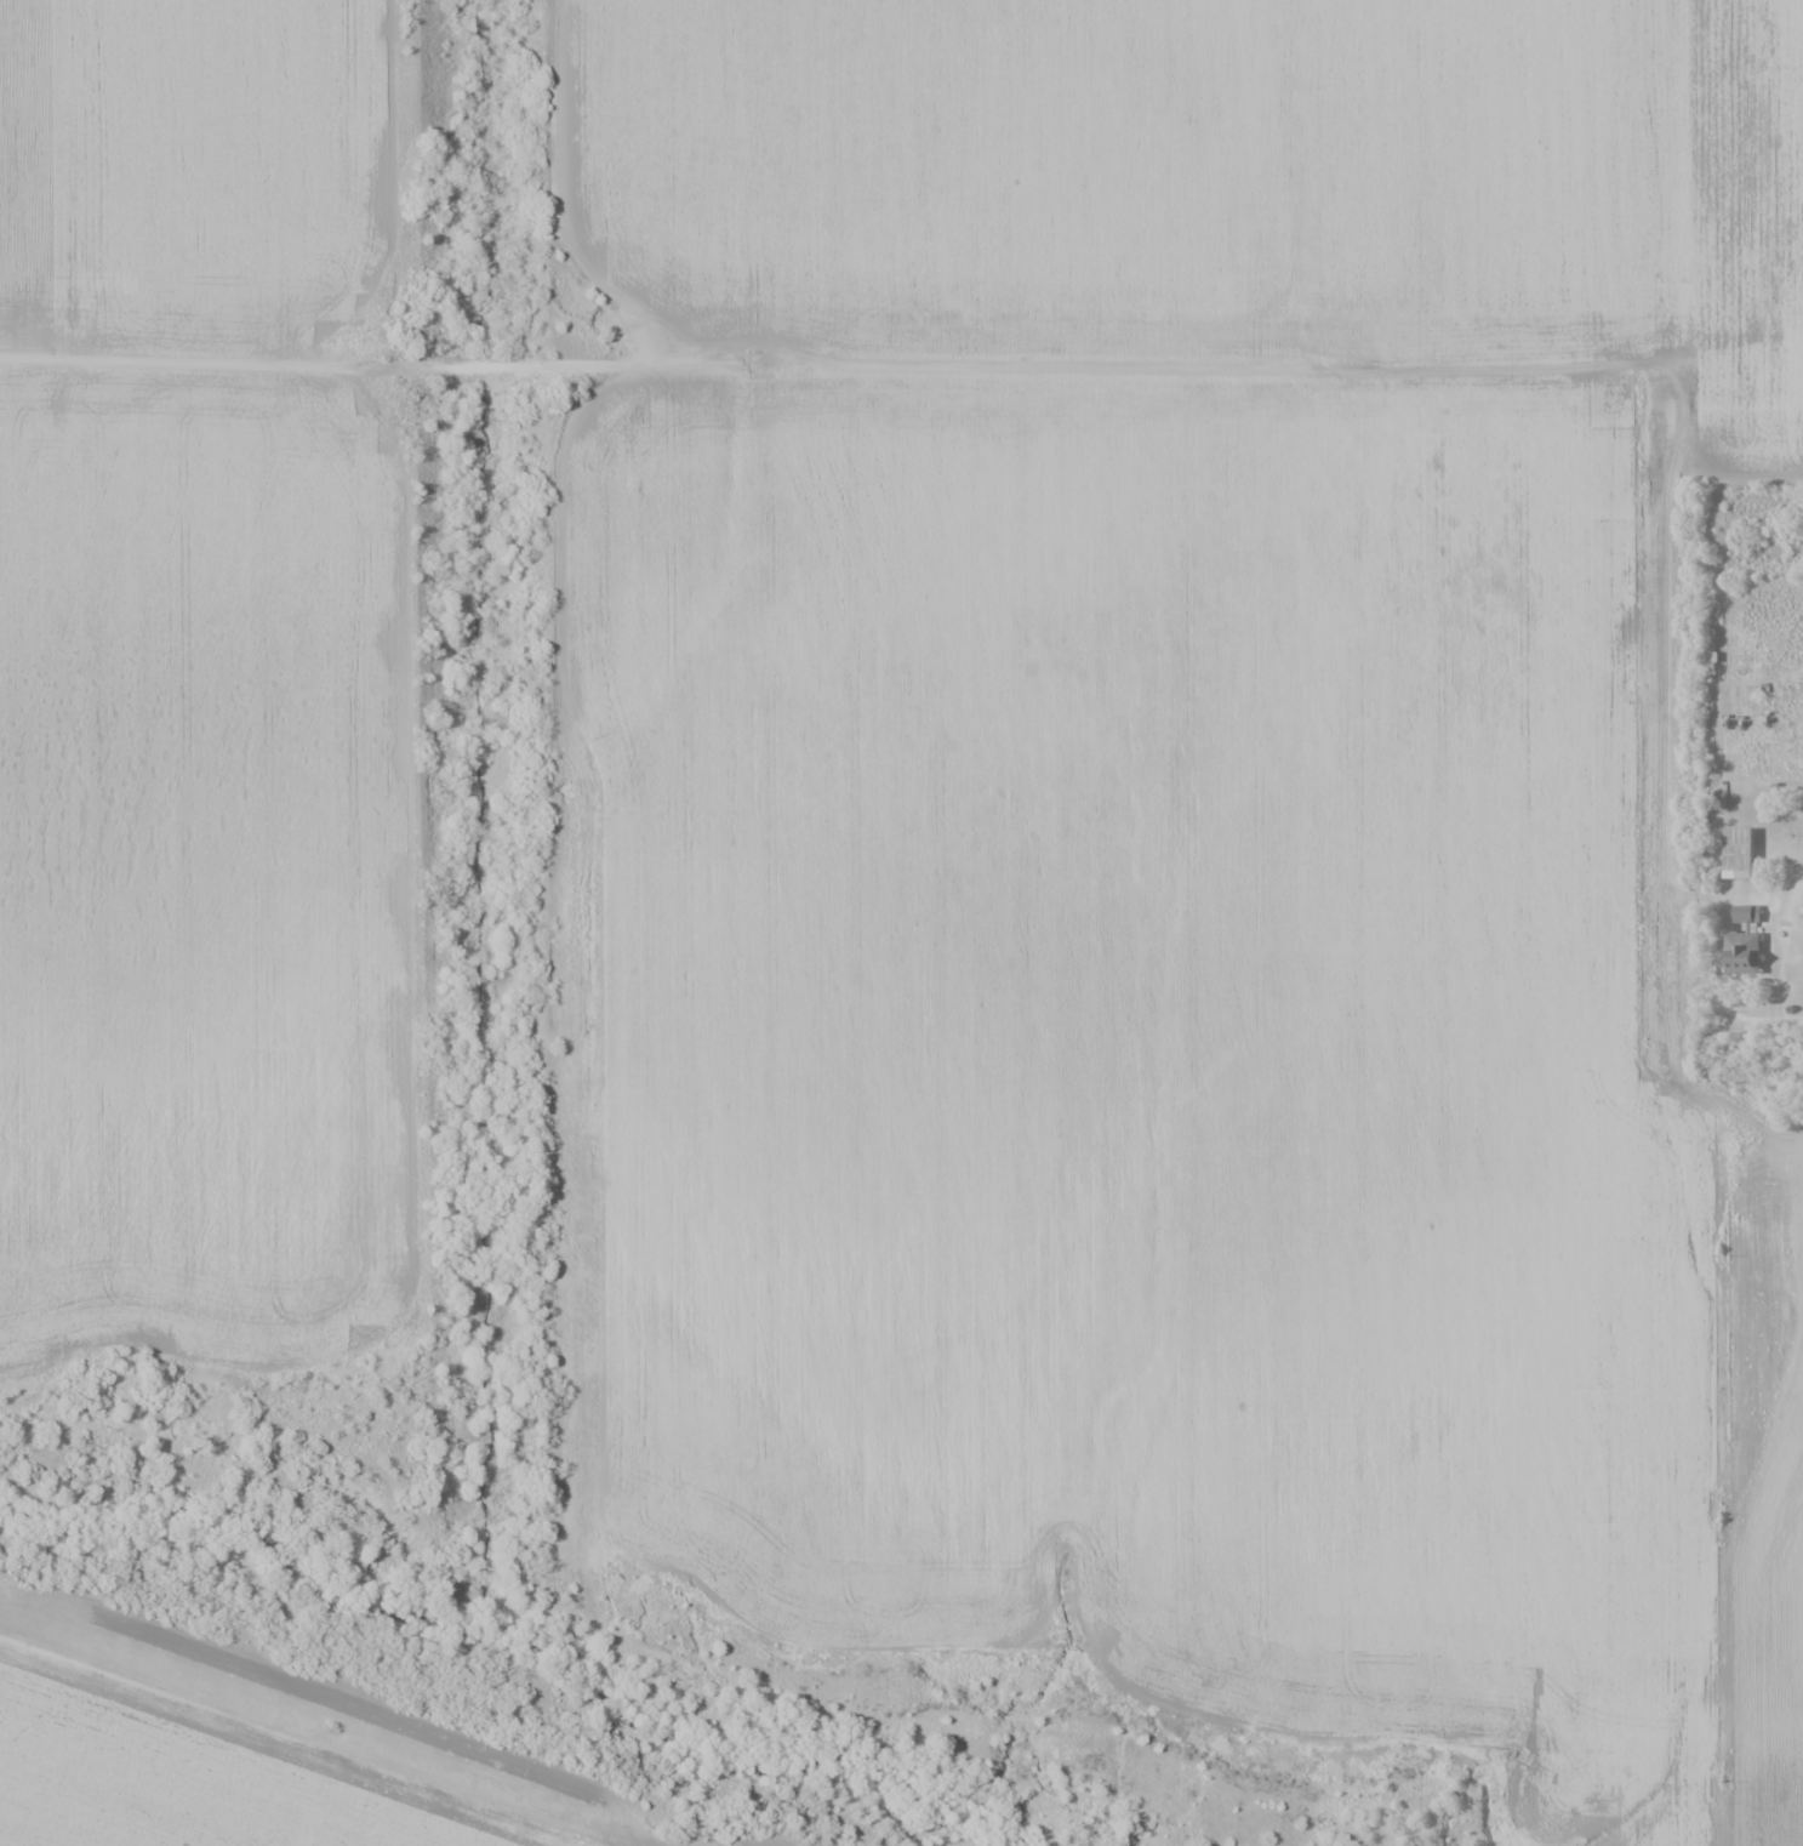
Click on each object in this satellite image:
road: (557, 199)
road: (936, 366)
building: (1744, 854)
building: (1745, 942)
road: (1787, 1018)

